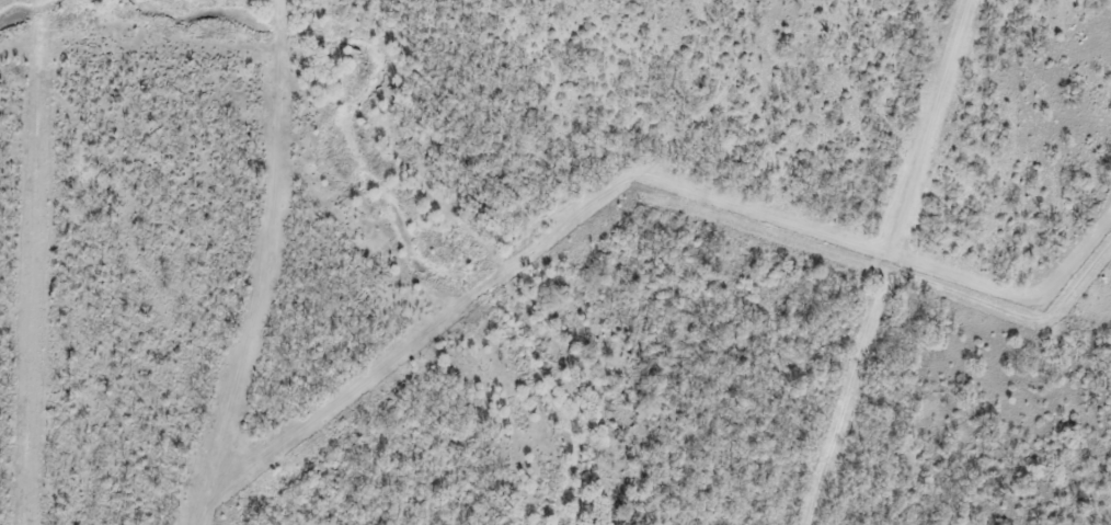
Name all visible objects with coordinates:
road: (615, 186)

